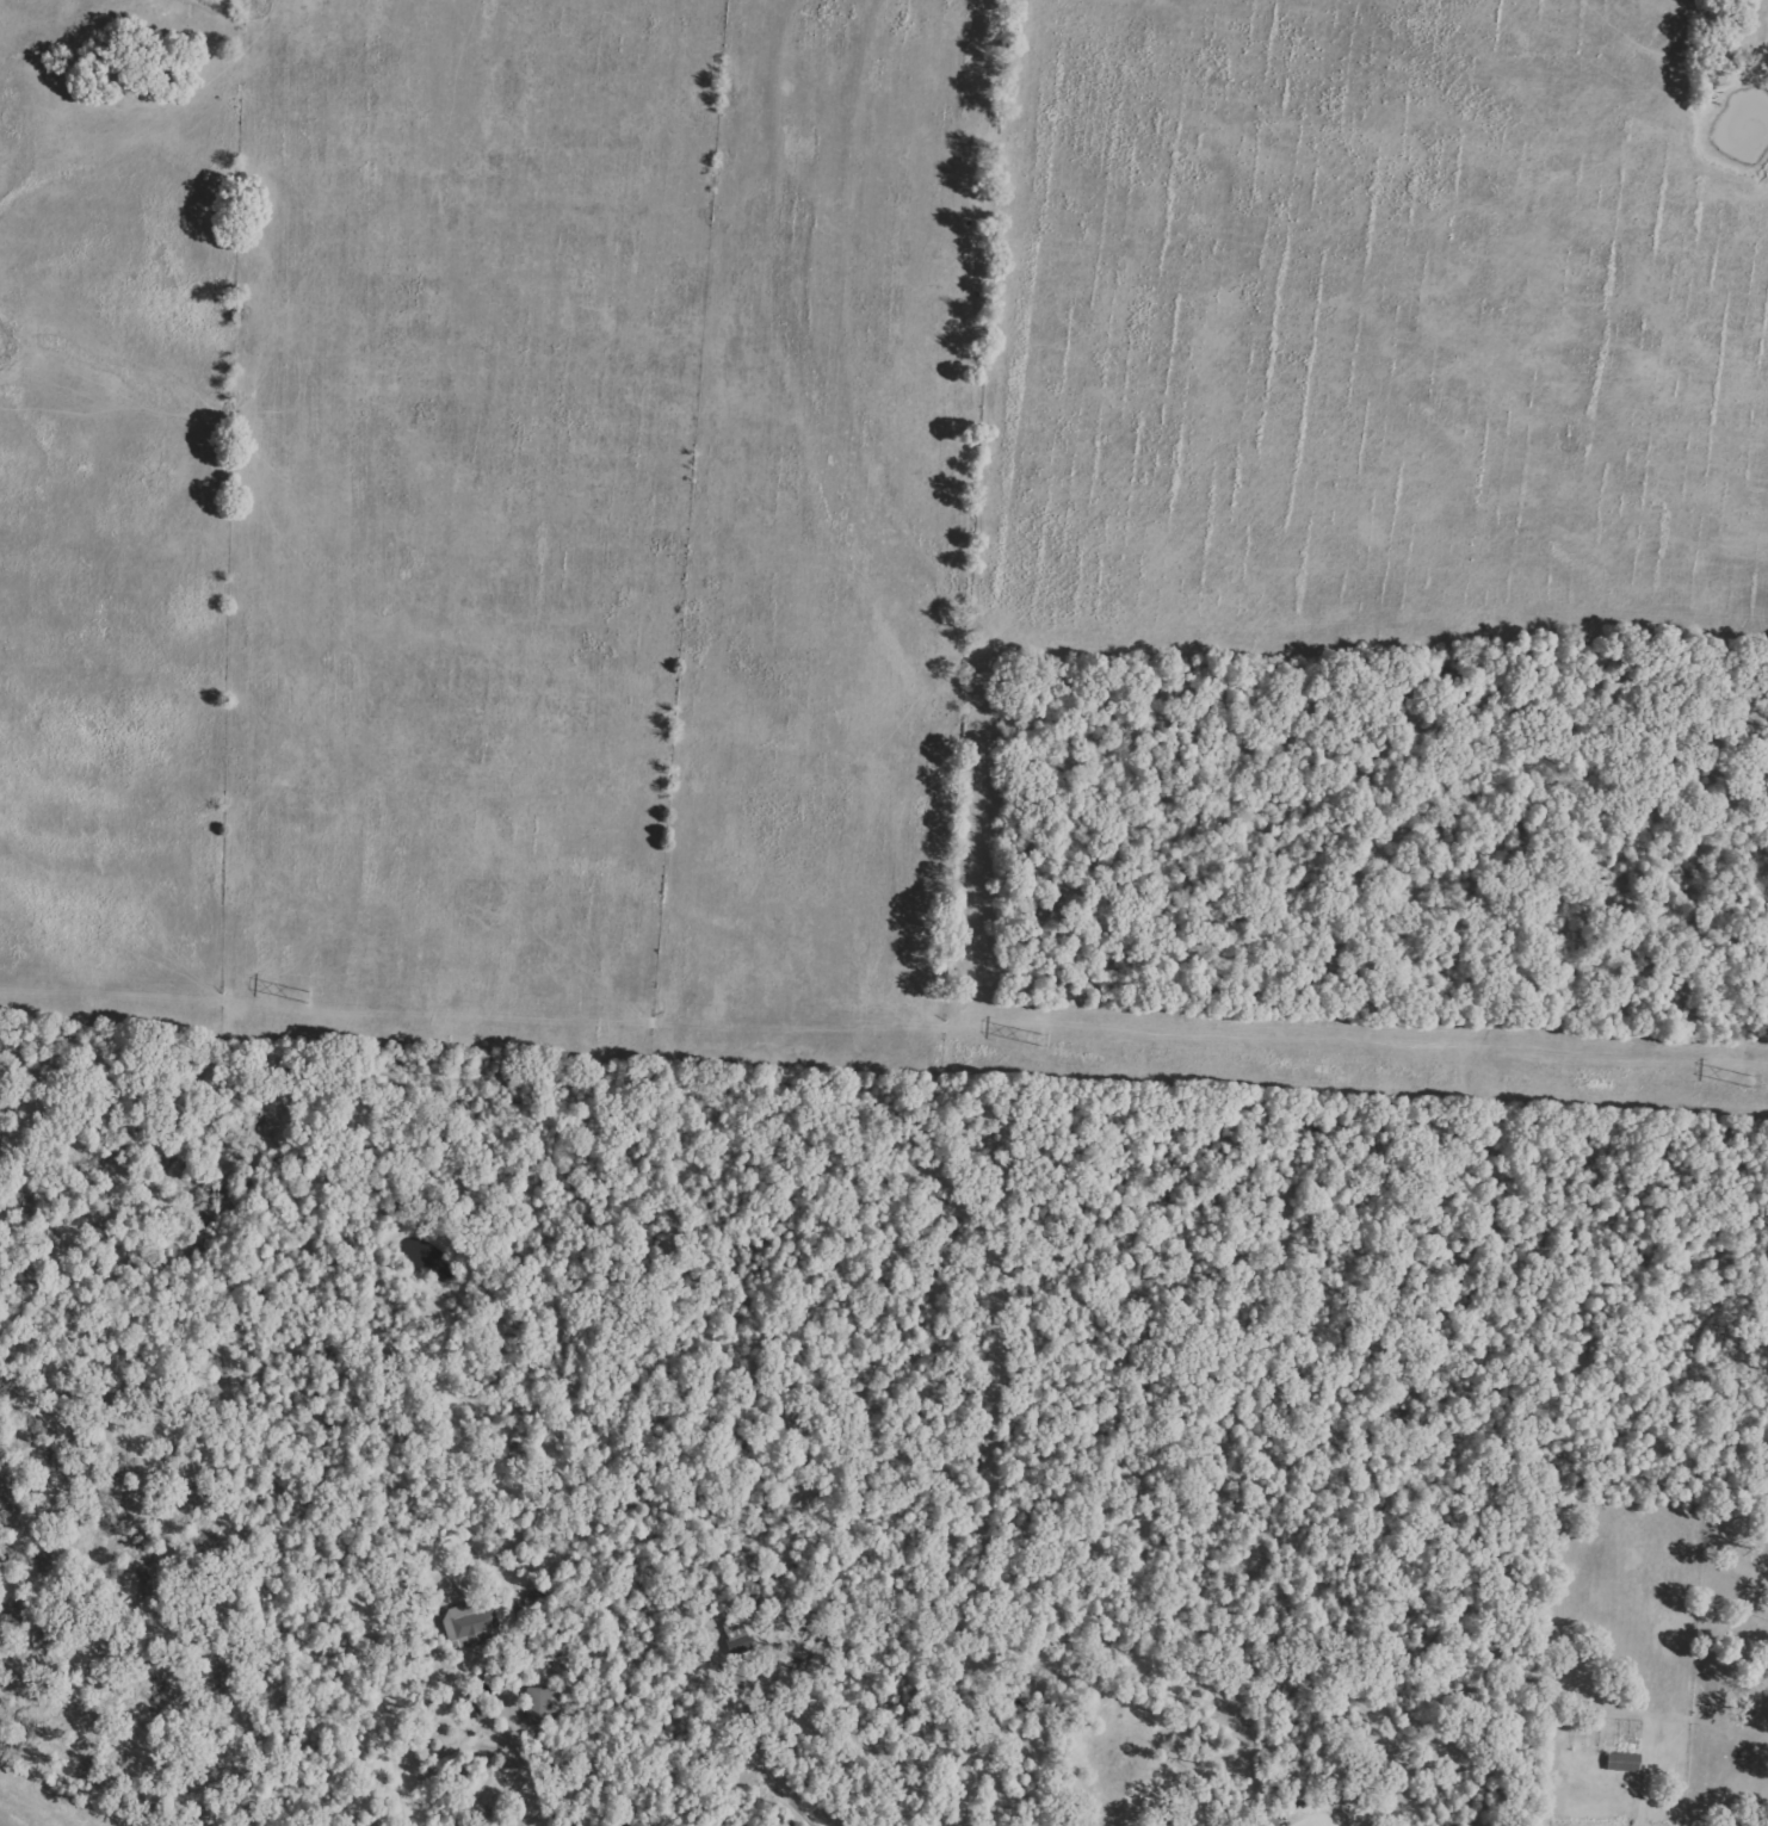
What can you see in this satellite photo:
building: (474, 1621)
building: (542, 1704)
building: (475, 1706)
road: (520, 1764)

